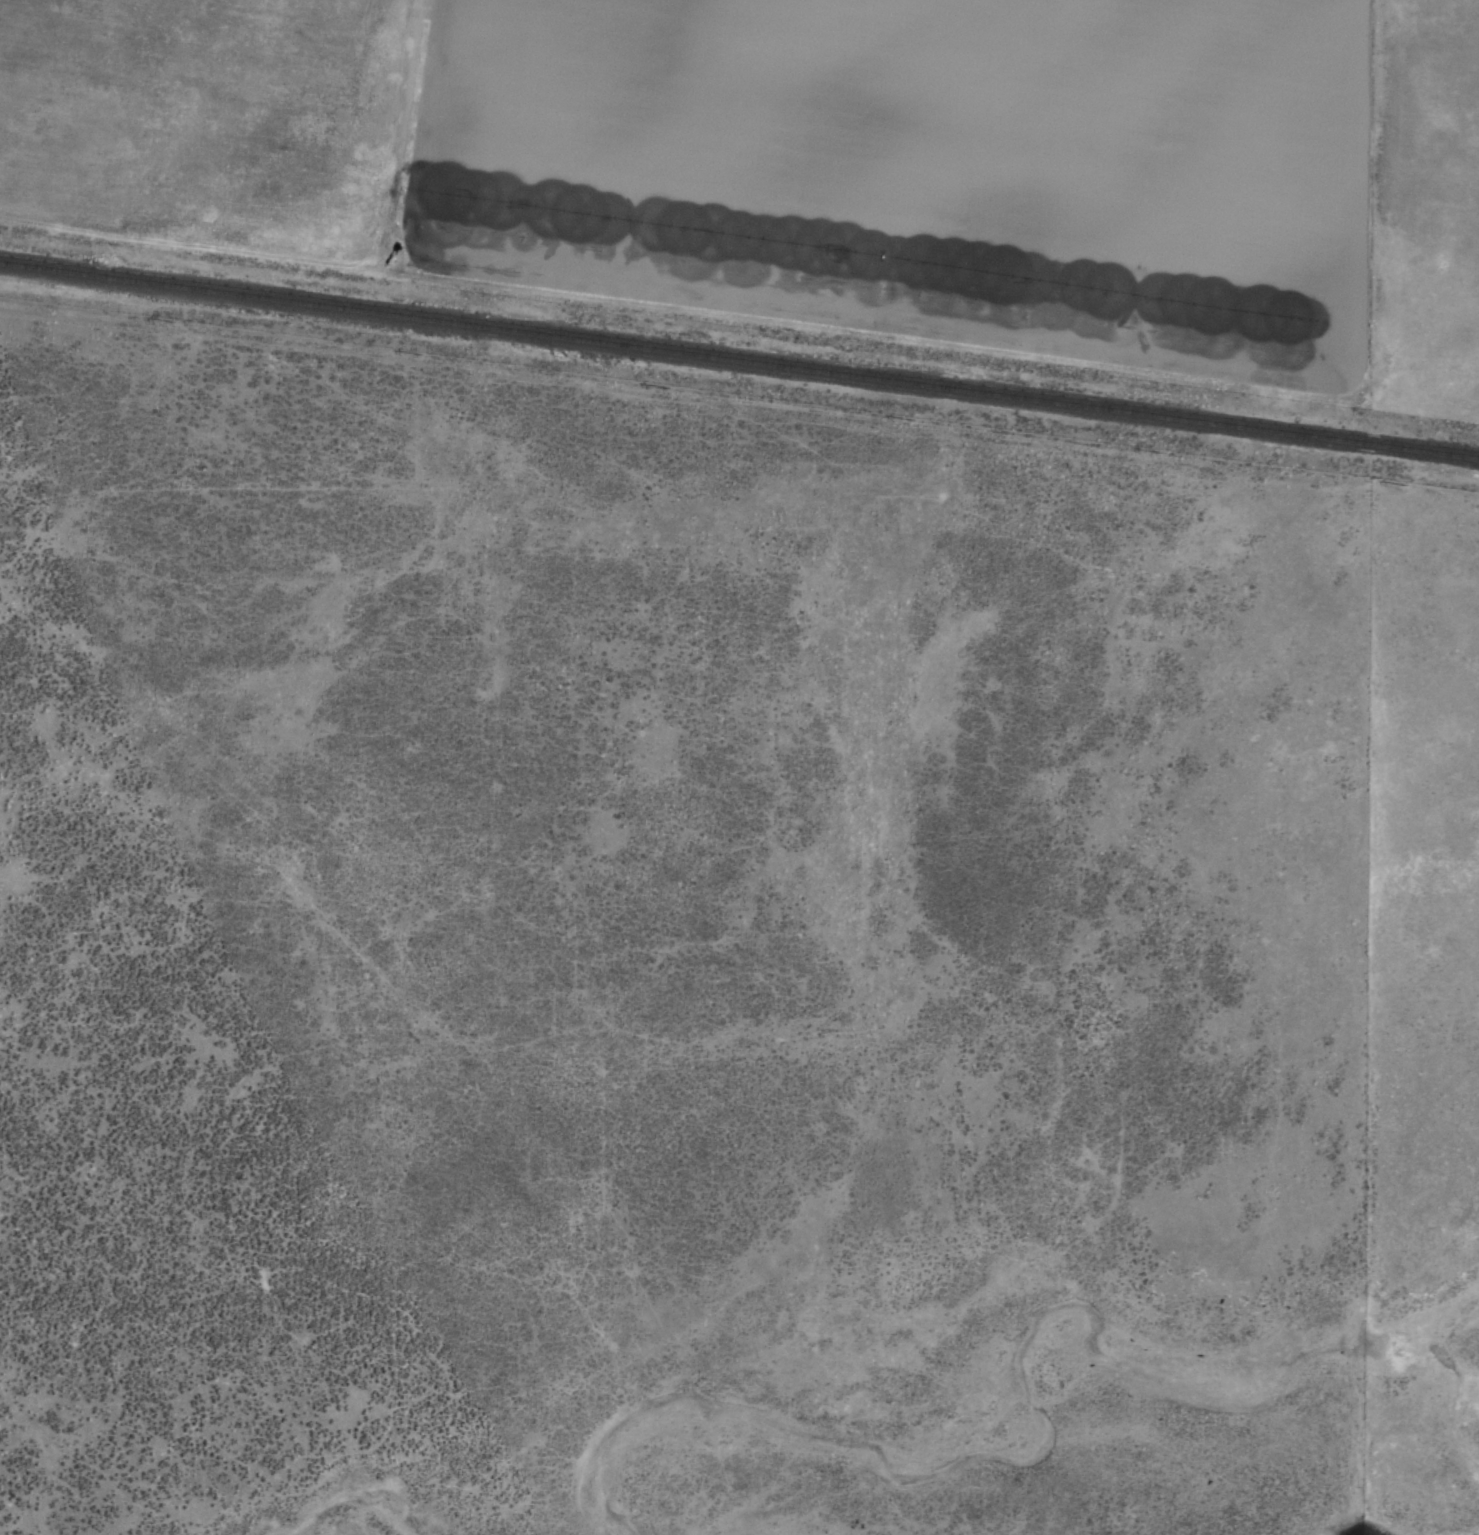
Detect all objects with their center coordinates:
railway: (739, 358)
crop: (741, 923)

